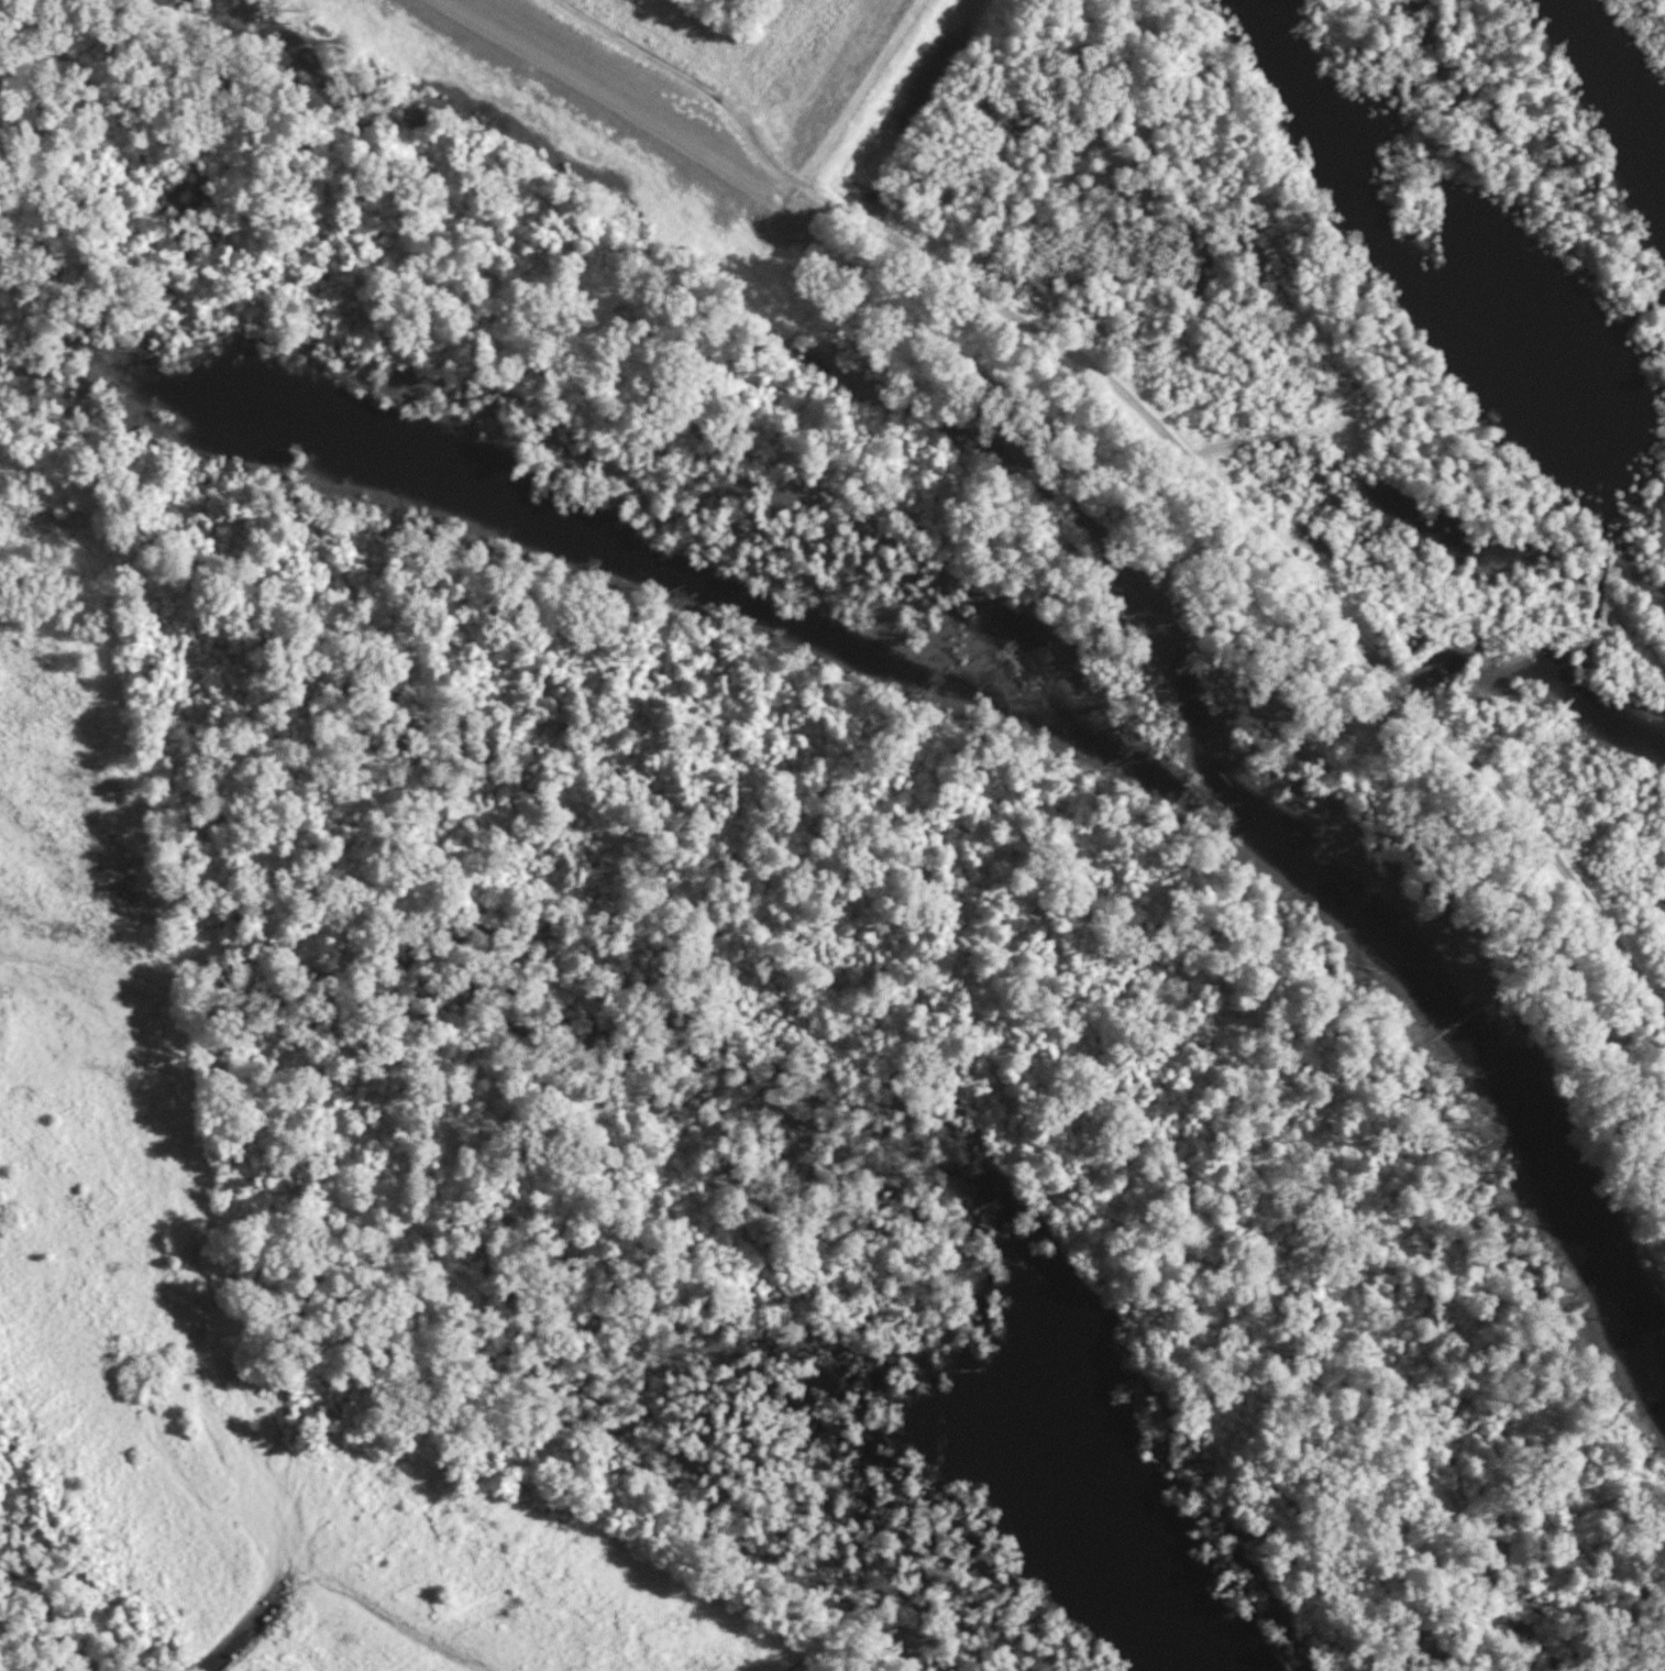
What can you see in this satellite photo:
road: (1187, 446)

